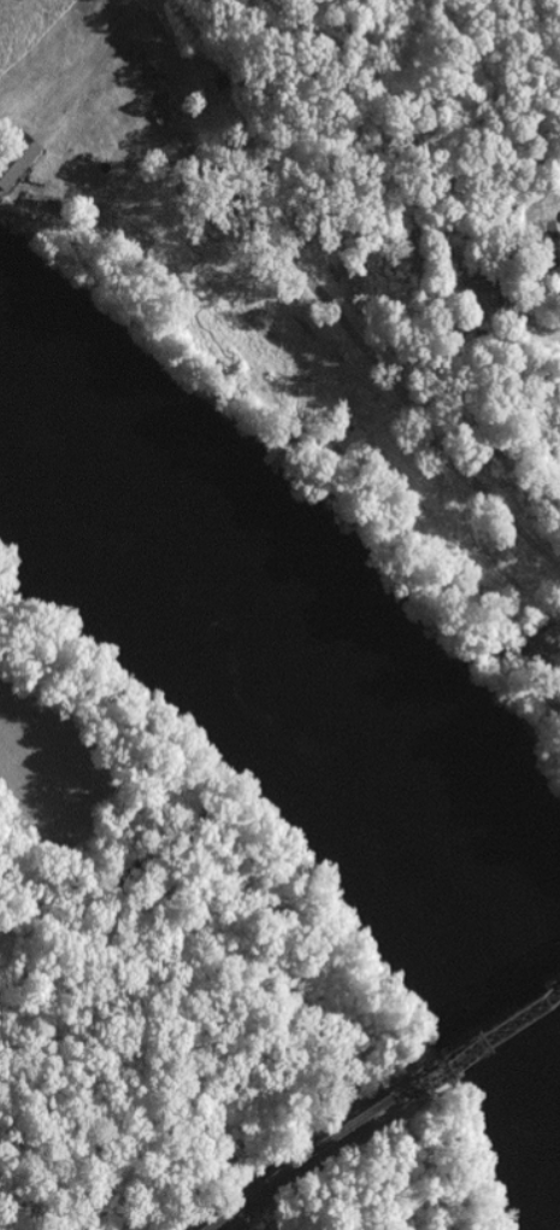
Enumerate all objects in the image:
building: (14, 157)
building: (478, 294)
river: (310, 722)
railway: (377, 1102)

